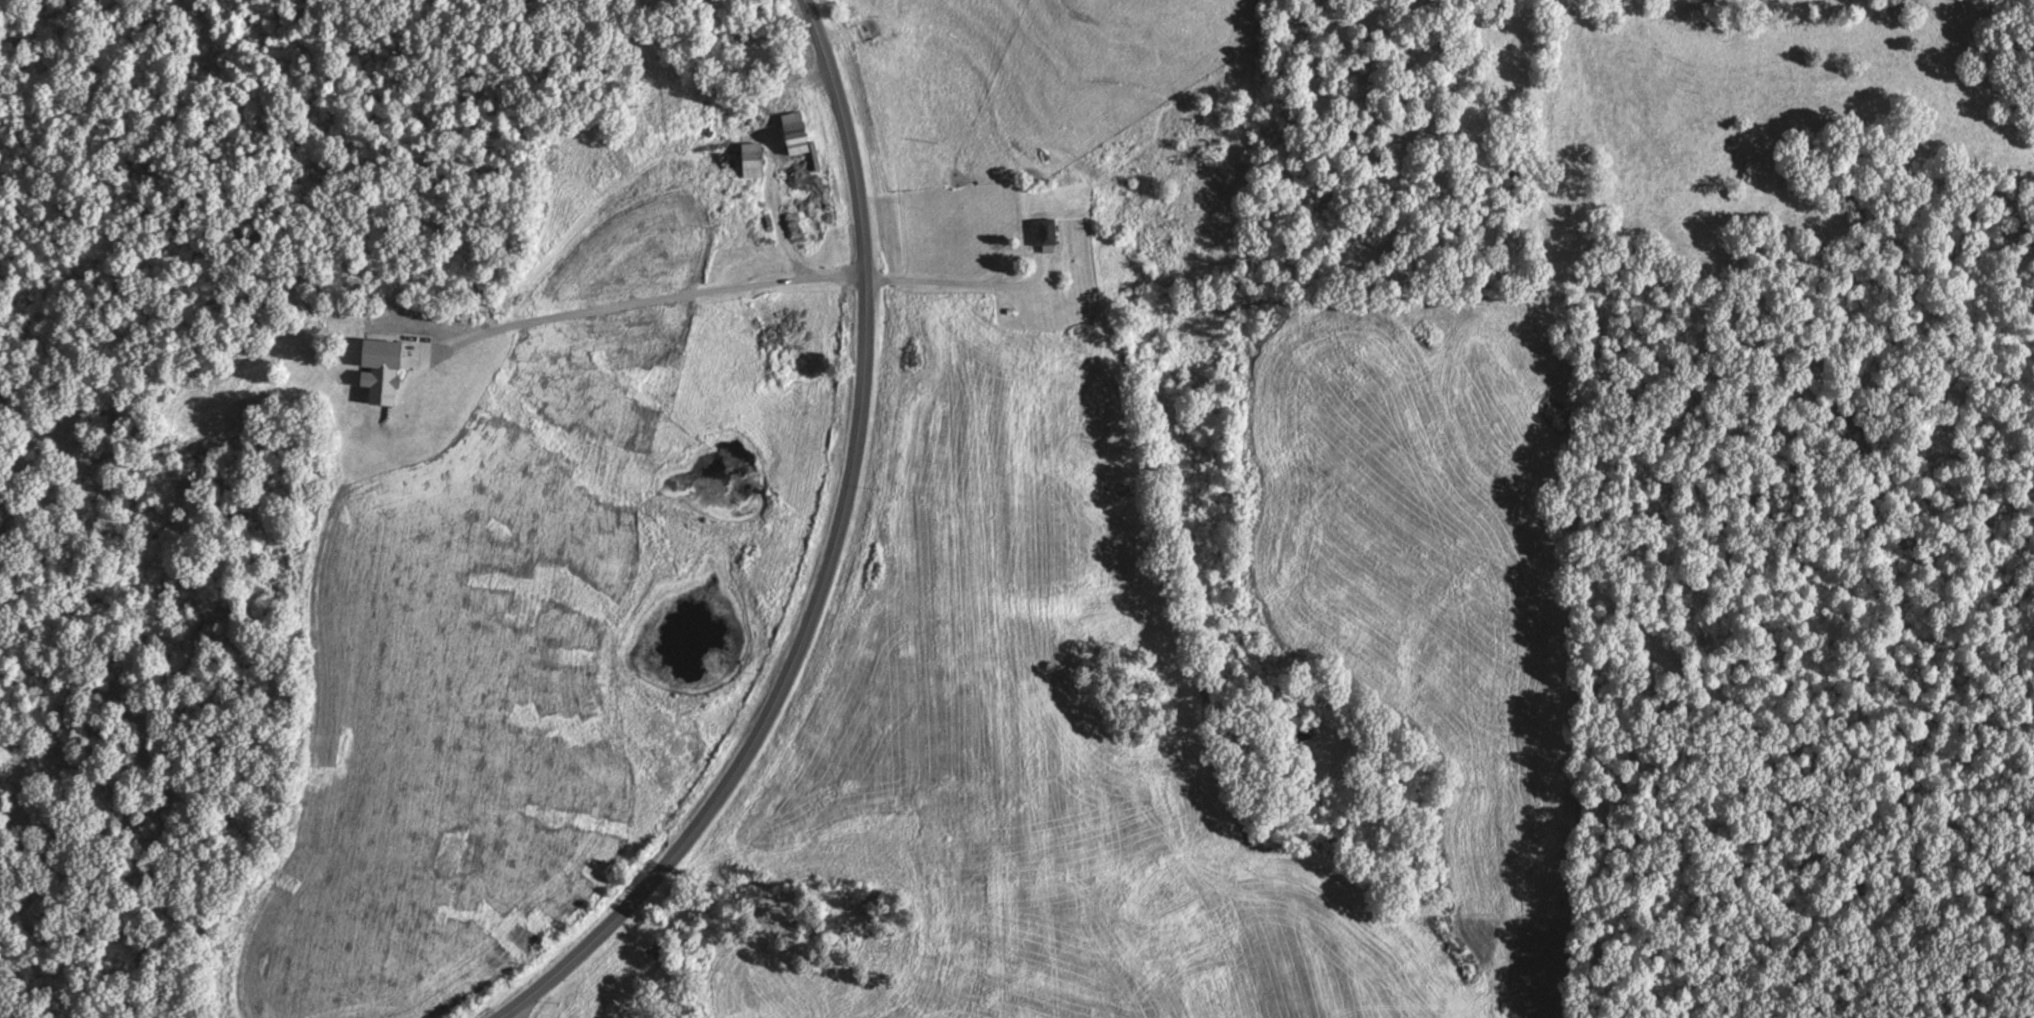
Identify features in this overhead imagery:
building: (798, 133)
building: (754, 160)
building: (1045, 232)
road: (828, 555)

